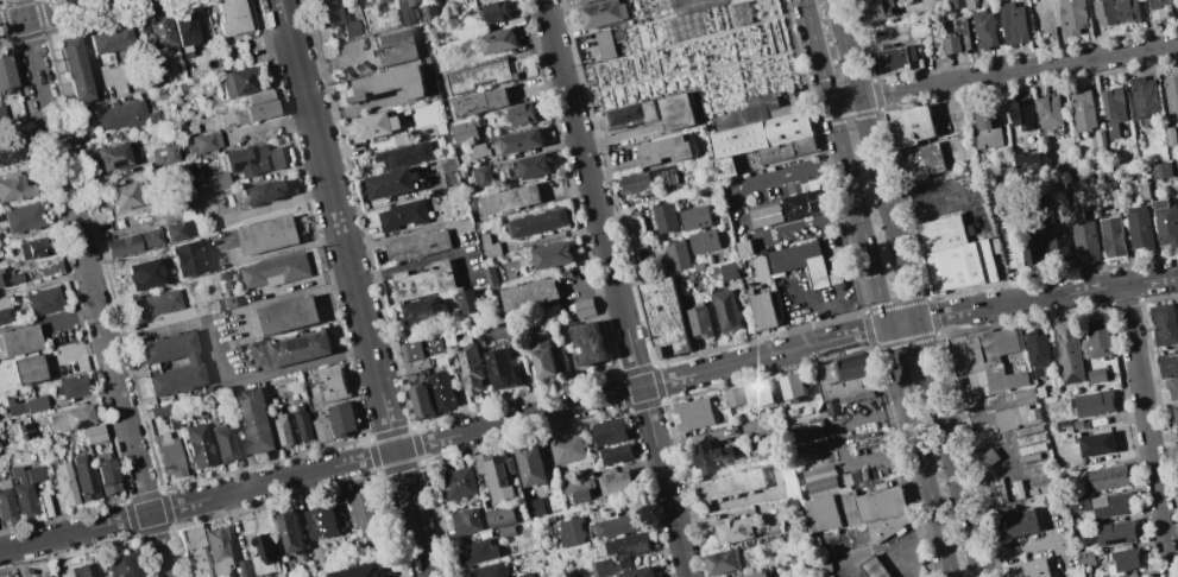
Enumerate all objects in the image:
building: (377, 0)
building: (484, 0)
building: (581, 1)
building: (962, 4)
building: (687, 8)
building: (875, 8)
building: (1160, 8)
building: (428, 11)
building: (1127, 11)
road: (49, 12)
building: (405, 12)
building: (493, 12)
building: (1104, 12)
building: (601, 13)
building: (1072, 15)
building: (232, 17)
building: (335, 17)
building: (139, 21)
building: (1013, 23)
building: (682, 25)
building: (184, 27)
building: (983, 28)
building: (160, 30)
building: (950, 38)
building: (109, 39)
building: (494, 40)
building: (607, 42)
building: (397, 46)
road: (848, 49)
road: (817, 51)
building: (901, 53)
road: (332, 62)
building: (74, 66)
building: (152, 68)
road: (1019, 71)
building: (6, 74)
building: (478, 75)
building: (237, 81)
building: (391, 83)
building: (158, 91)
building: (1171, 93)
building: (1144, 97)
road: (845, 101)
building: (480, 102)
building: (251, 109)
building: (675, 110)
building: (1083, 110)
building: (1113, 110)
building: (634, 112)
building: (1048, 112)
building: (113, 114)
building: (518, 114)
building: (1021, 115)
building: (2, 116)
road: (271, 125)
building: (373, 125)
building: (909, 126)
building: (440, 127)
building: (193, 128)
building: (985, 128)
building: (466, 131)
building: (761, 132)
road: (837, 132)
road: (618, 135)
building: (1170, 137)
building: (1100, 138)
building: (399, 139)
building: (519, 141)
building: (203, 142)
rooftop solar panel: (420, 145)
building: (485, 148)
building: (663, 148)
building: (11, 151)
rooftop solar panel: (396, 152)
road: (874, 153)
building: (164, 154)
building: (403, 154)
building: (112, 156)
building: (253, 159)
rooftop solar panel: (420, 160)
building: (1028, 161)
building: (1176, 161)
building: (919, 163)
rooftop solar panel: (248, 165)
building: (533, 165)
road: (833, 165)
rooftop solar panel: (114, 166)
rooftop solar panel: (235, 169)
building: (1161, 170)
building: (1004, 175)
building: (480, 176)
building: (451, 178)
building: (212, 182)
building: (632, 182)
building: (391, 183)
building: (14, 186)
road: (851, 186)
building: (1144, 191)
building: (263, 192)
road: (592, 192)
road: (955, 194)
building: (124, 195)
building: (1116, 198)
building: (508, 199)
building: (1088, 199)
building: (805, 203)
building: (169, 214)
road: (744, 214)
building: (401, 215)
building: (764, 215)
road: (845, 215)
building: (0, 216)
building: (24, 217)
building: (664, 217)
building: (694, 217)
building: (537, 222)
building: (1165, 223)
building: (1139, 228)
building: (179, 229)
building: (940, 233)
building: (1083, 234)
building: (267, 235)
building: (1113, 236)
building: (132, 241)
building: (703, 241)
building: (416, 246)
building: (489, 246)
building: (1058, 246)
building: (33, 247)
building: (743, 249)
building: (1014, 251)
building: (1029, 253)
building: (550, 254)
building: (676, 255)
building: (795, 264)
road: (902, 264)
building: (698, 266)
building: (959, 266)
building: (51, 268)
road: (871, 268)
building: (276, 270)
building: (727, 271)
building: (490, 275)
building: (10, 277)
building: (423, 280)
road: (93, 288)
road: (354, 288)
building: (528, 294)
road: (1046, 297)
building: (43, 300)
building: (229, 300)
building: (466, 303)
building: (155, 304)
road: (824, 306)
building: (580, 309)
building: (762, 309)
building: (5, 310)
building: (422, 310)
building: (725, 310)
building: (288, 315)
building: (663, 317)
road: (70, 318)
building: (698, 322)
road: (902, 322)
building: (1164, 324)
building: (1097, 337)
building: (19, 340)
road: (921, 340)
building: (1004, 340)
building: (586, 343)
building: (288, 350)
road: (893, 350)
building: (1037, 351)
building: (1069, 351)
building: (546, 354)
road: (764, 355)
building: (972, 355)
building: (194, 363)
building: (1167, 366)
building: (471, 367)
building: (27, 369)
building: (500, 369)
road: (265, 374)
building: (412, 374)
building: (1096, 374)
building: (994, 375)
building: (845, 379)
building: (1015, 379)
building: (332, 381)
building: (71, 386)
building: (792, 387)
building: (1172, 388)
building: (440, 391)
building: (1040, 391)
building: (757, 393)
building: (732, 397)
building: (1008, 400)
building: (1092, 402)
building: (36, 404)
building: (14, 406)
building: (159, 411)
building: (693, 413)
building: (1032, 413)
building: (1174, 413)
building: (341, 418)
building: (69, 419)
building: (256, 420)
building: (1031, 421)
building: (172, 423)
building: (303, 423)
building: (1077, 424)
rooftop solar panel: (82, 425)
building: (1063, 425)
building: (320, 426)
building: (283, 429)
building: (26, 430)
building: (1029, 430)
road: (1146, 430)
building: (607, 431)
building: (1177, 431)
building: (93, 433)
building: (811, 439)
building: (1029, 439)
building: (222, 443)
building: (1094, 443)
road: (843, 444)
building: (197, 445)
building: (566, 448)
building: (1031, 448)
road: (396, 449)
building: (615, 454)
building: (168, 455)
building: (711, 456)
building: (1028, 457)
building: (530, 464)
road: (955, 469)
building: (496, 473)
building: (83, 475)
building: (106, 476)
road: (925, 476)
building: (1105, 477)
building: (819, 478)
building: (789, 481)
building: (458, 482)
building: (613, 482)
road: (664, 482)
building: (64, 483)
building: (727, 484)
building: (25, 488)
building: (1016, 489)
building: (997, 492)
building: (582, 496)
building: (6, 502)
building: (790, 503)
building: (883, 503)
building: (1077, 503)
building: (1111, 505)
building: (533, 506)
building: (845, 507)
building: (364, 508)
building: (821, 513)
building: (500, 516)
building: (465, 520)
building: (321, 521)
building: (1018, 524)
building: (615, 526)
building: (886, 526)
building: (732, 528)
road: (1050, 530)
building: (289, 531)
building: (506, 531)
building: (569, 531)
road: (75, 532)
building: (1116, 532)
building: (626, 547)
building: (219, 550)
building: (477, 551)
road: (1015, 551)
building: (194, 552)
building: (264, 554)
building: (1085, 557)
building: (1125, 558)
building: (722, 560)
building: (122, 565)
building: (242, 568)
building: (601, 568)
building: (874, 568)
building: (1029, 569)
building: (82, 570)
building: (358, 570)
building: (489, 570)
building: (636, 572)
building: (1086, 573)
building: (525, 575)
building: (752, 575)
building: (45, 576)
building: (1136, 576)
building: (1141, 576)

